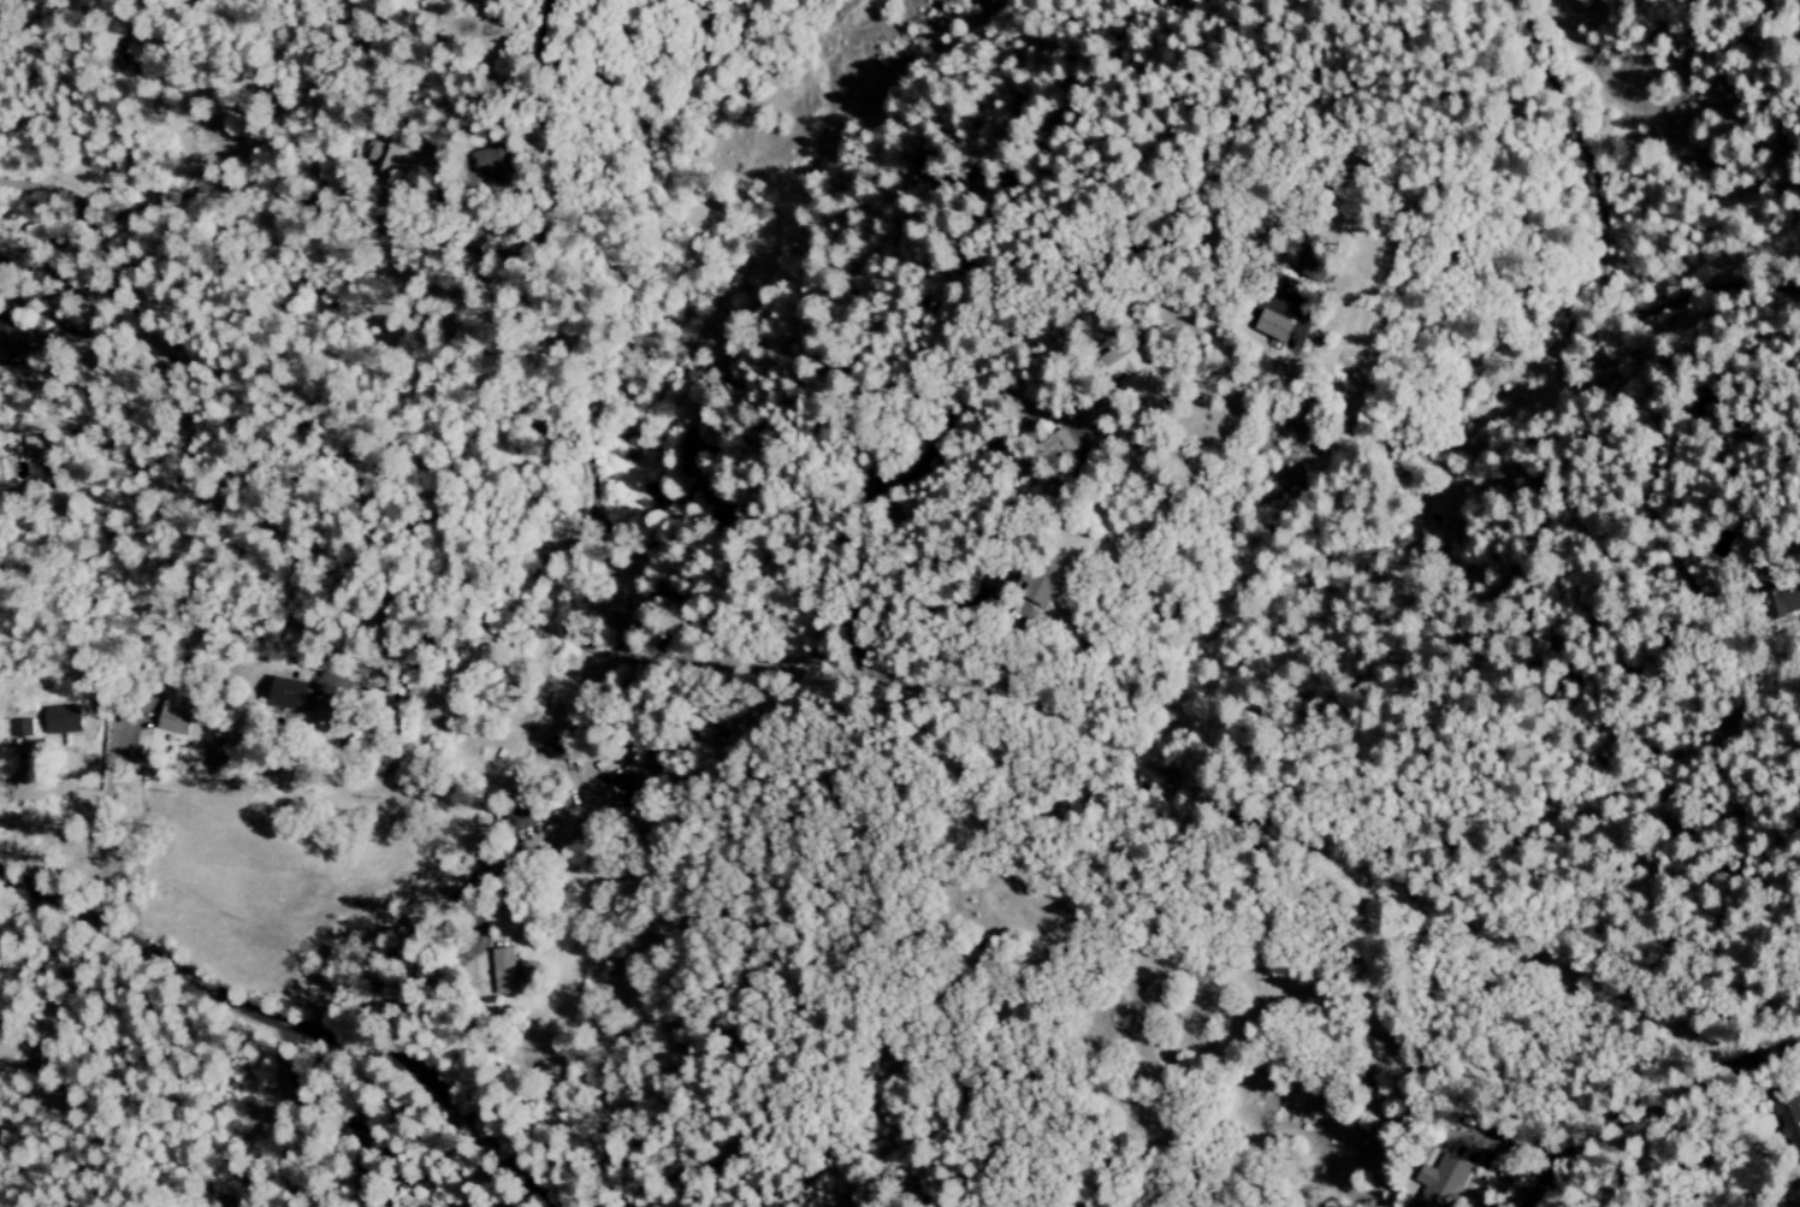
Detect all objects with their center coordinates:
road: (286, 107)
building: (396, 158)
building: (495, 166)
road: (49, 189)
road: (356, 221)
building: (1320, 262)
road: (940, 286)
building: (1275, 325)
building: (12, 335)
building: (1137, 372)
building: (46, 445)
building: (1060, 445)
building: (1037, 579)
building: (1781, 602)
building: (333, 687)
building: (290, 694)
building: (177, 716)
building: (525, 820)
road: (102, 832)
road: (426, 916)
building: (505, 969)
road: (292, 1030)
building: (7, 1047)
road: (1650, 1105)
building: (1788, 1123)
building: (1444, 1182)

